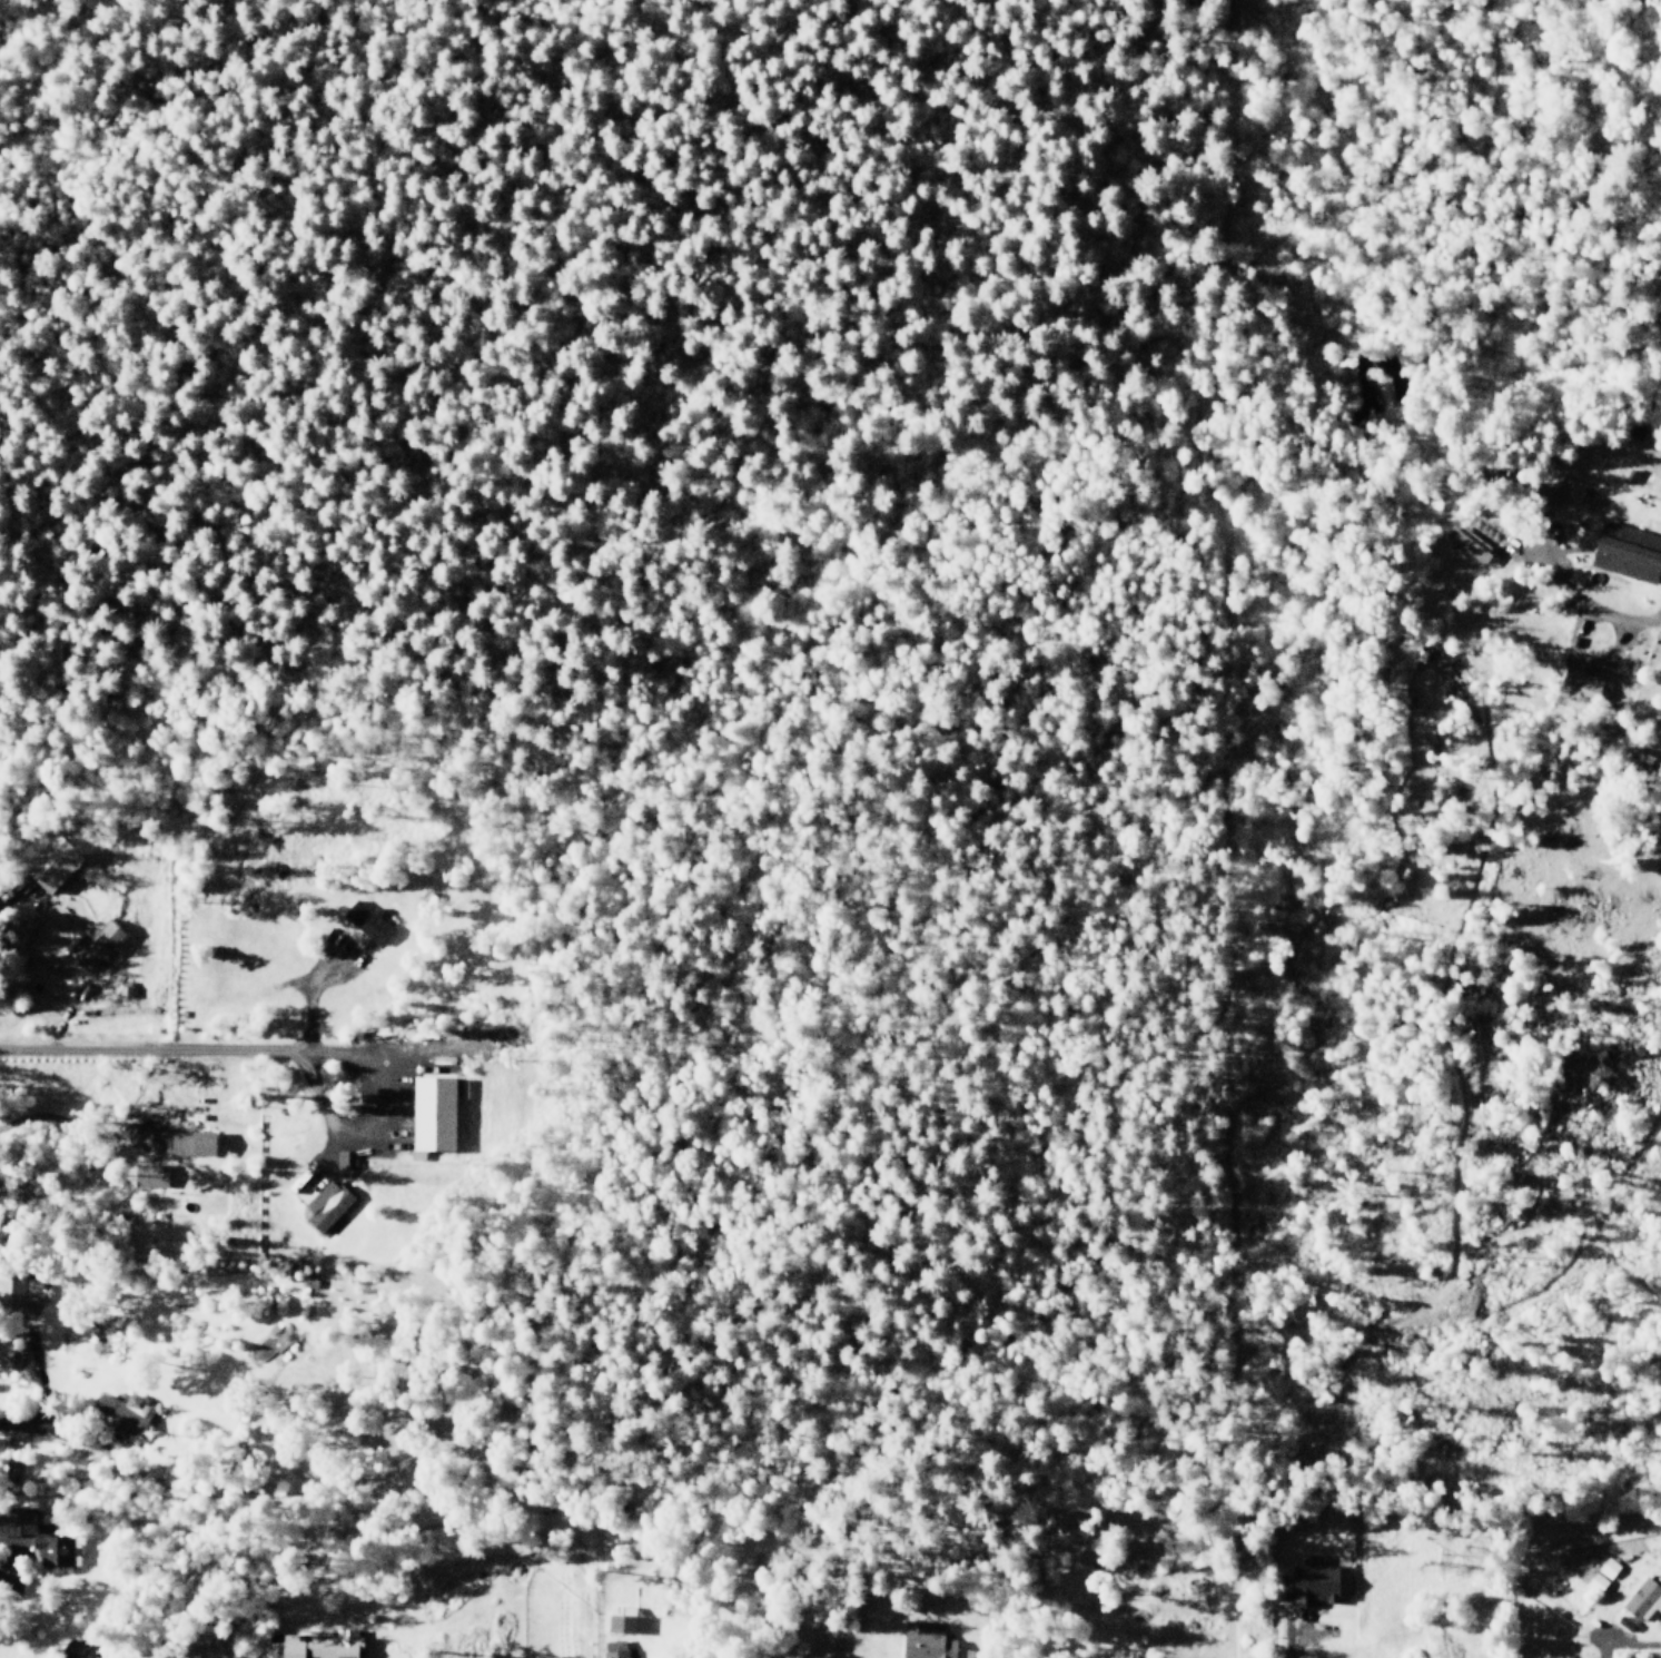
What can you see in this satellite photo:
building: (1467, 544)
building: (1629, 552)
road: (1535, 569)
road: (1629, 622)
road: (1586, 662)
building: (1573, 694)
road: (1217, 830)
building: (55, 866)
road: (17, 891)
building: (367, 924)
building: (98, 946)
building: (121, 988)
road: (309, 999)
road: (1450, 1046)
road: (139, 1049)
road: (389, 1050)
road: (403, 1060)
road: (369, 1107)
road: (316, 1111)
building: (431, 1119)
road: (76, 1133)
building: (188, 1147)
building: (148, 1176)
building: (328, 1210)
road: (1574, 1212)
road: (1611, 1259)
building: (20, 1287)
building: (24, 1373)
road: (41, 1380)
building: (120, 1419)
road: (52, 1435)
building: (16, 1521)
building: (55, 1551)
road: (9, 1562)
building: (1598, 1572)
building: (1311, 1587)
building: (1642, 1601)
building: (624, 1624)
road: (1304, 1636)
road: (1632, 1642)
building: (323, 1646)
building: (926, 1647)
road: (1603, 1648)
building: (612, 1649)
building: (969, 1655)

